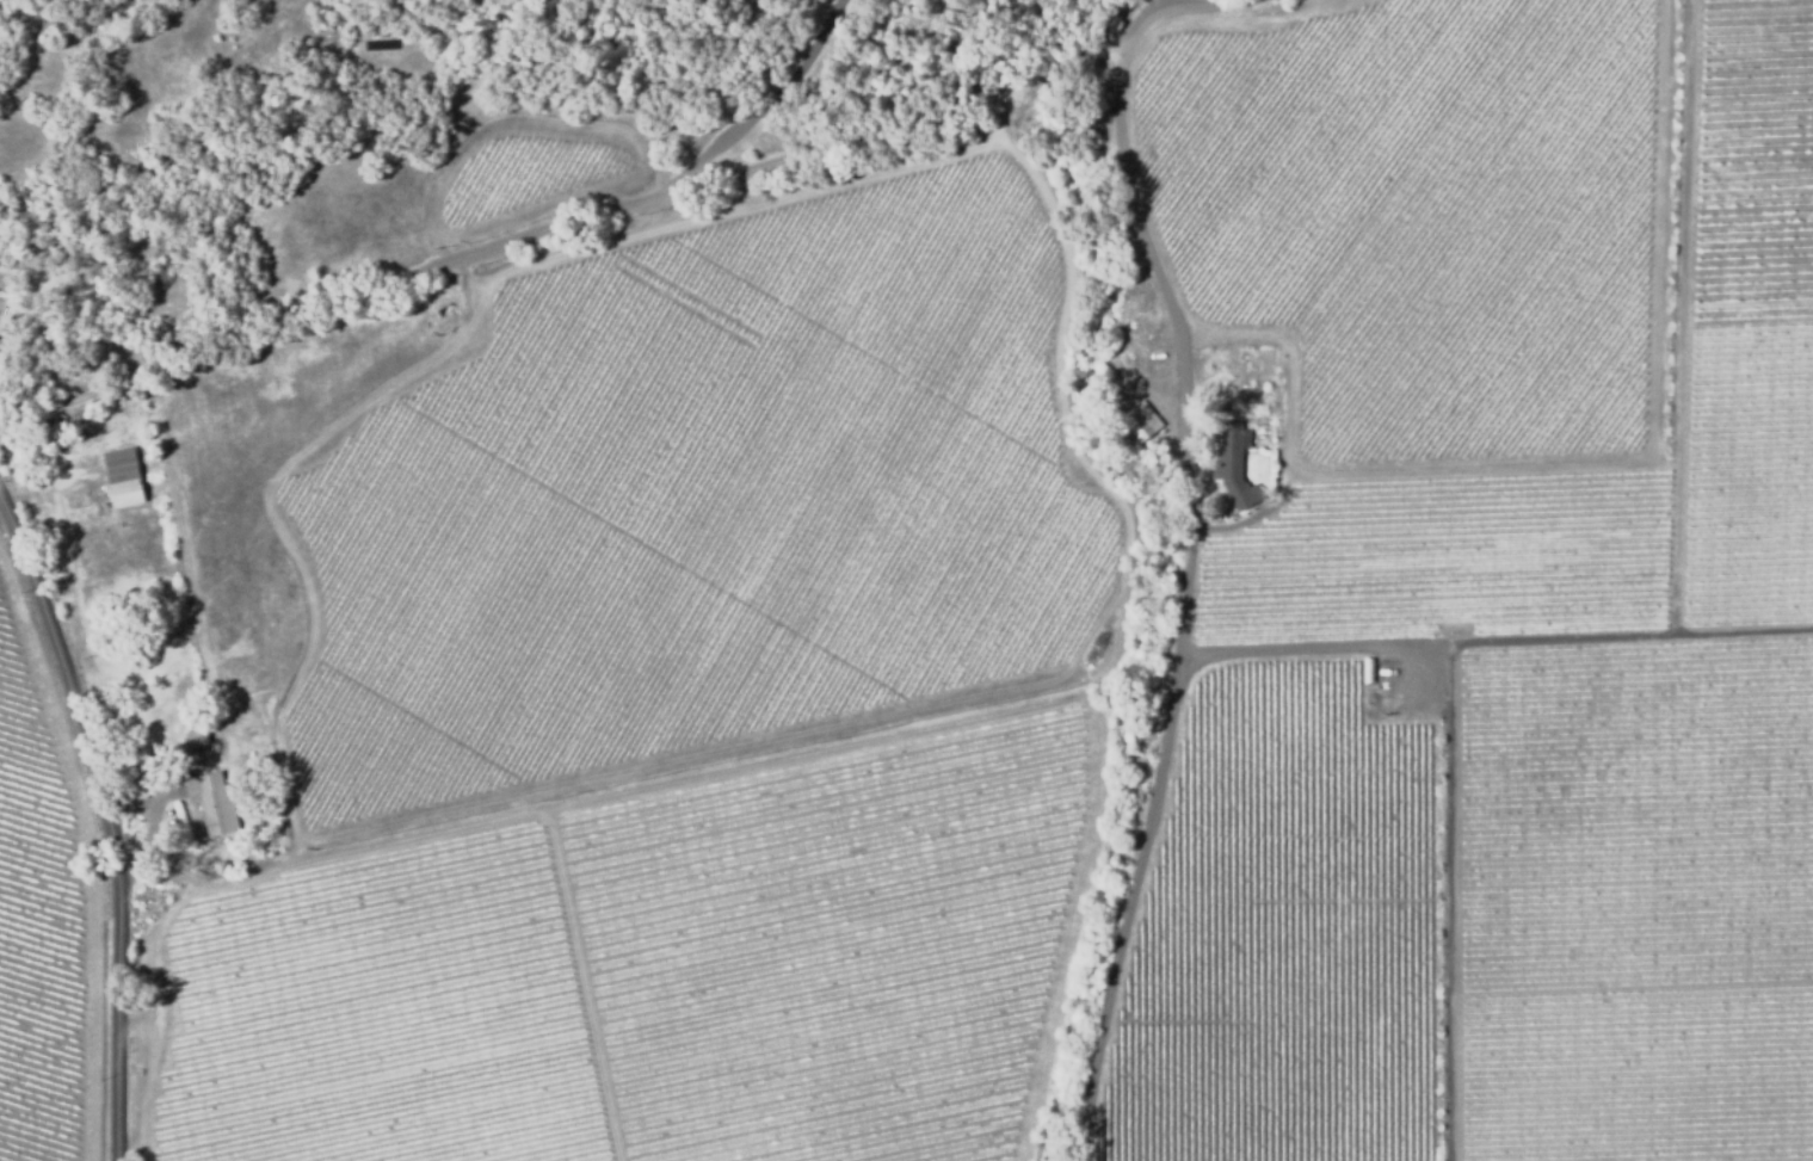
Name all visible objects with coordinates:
building: (1092, 75)
road: (750, 106)
road: (1137, 227)
road: (534, 231)
building: (1130, 315)
building: (0, 341)
building: (1143, 421)
building: (1233, 464)
building: (124, 477)
building: (129, 531)
building: (177, 640)
road: (1453, 723)
building: (197, 741)
building: (216, 804)
road: (103, 838)
road: (1127, 845)
building: (217, 854)

